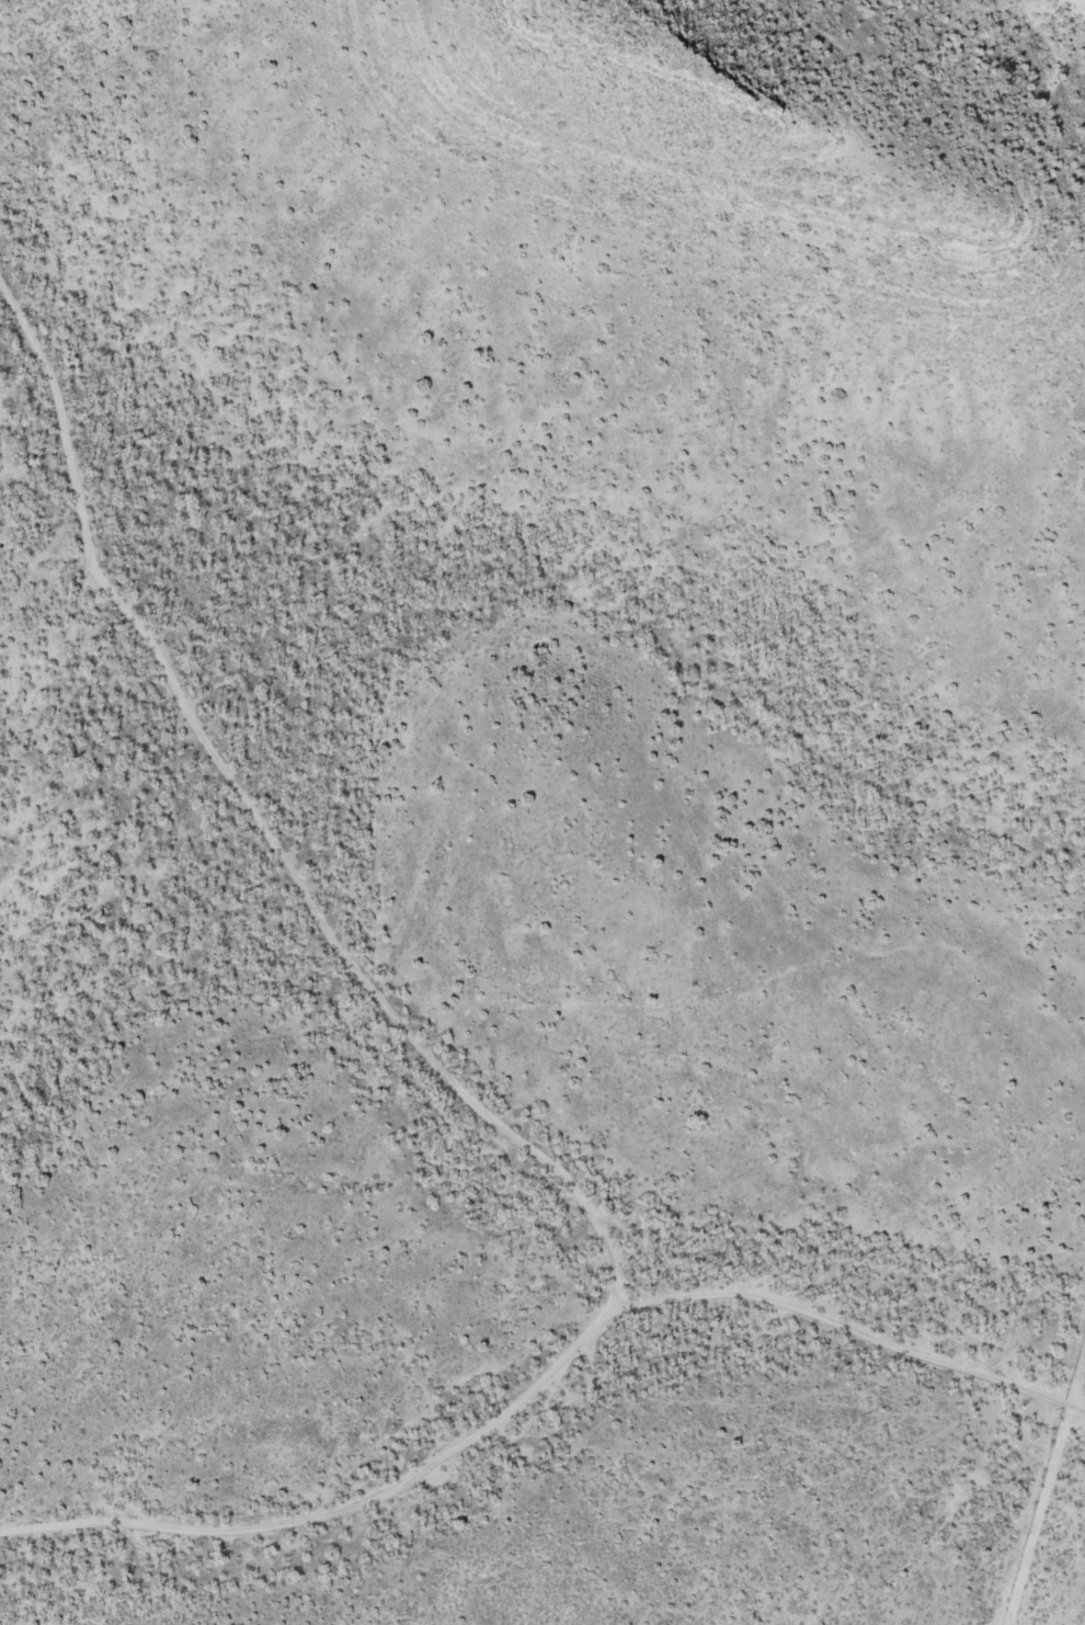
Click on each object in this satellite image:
road: (253, 831)
road: (542, 1378)
road: (1042, 1476)

